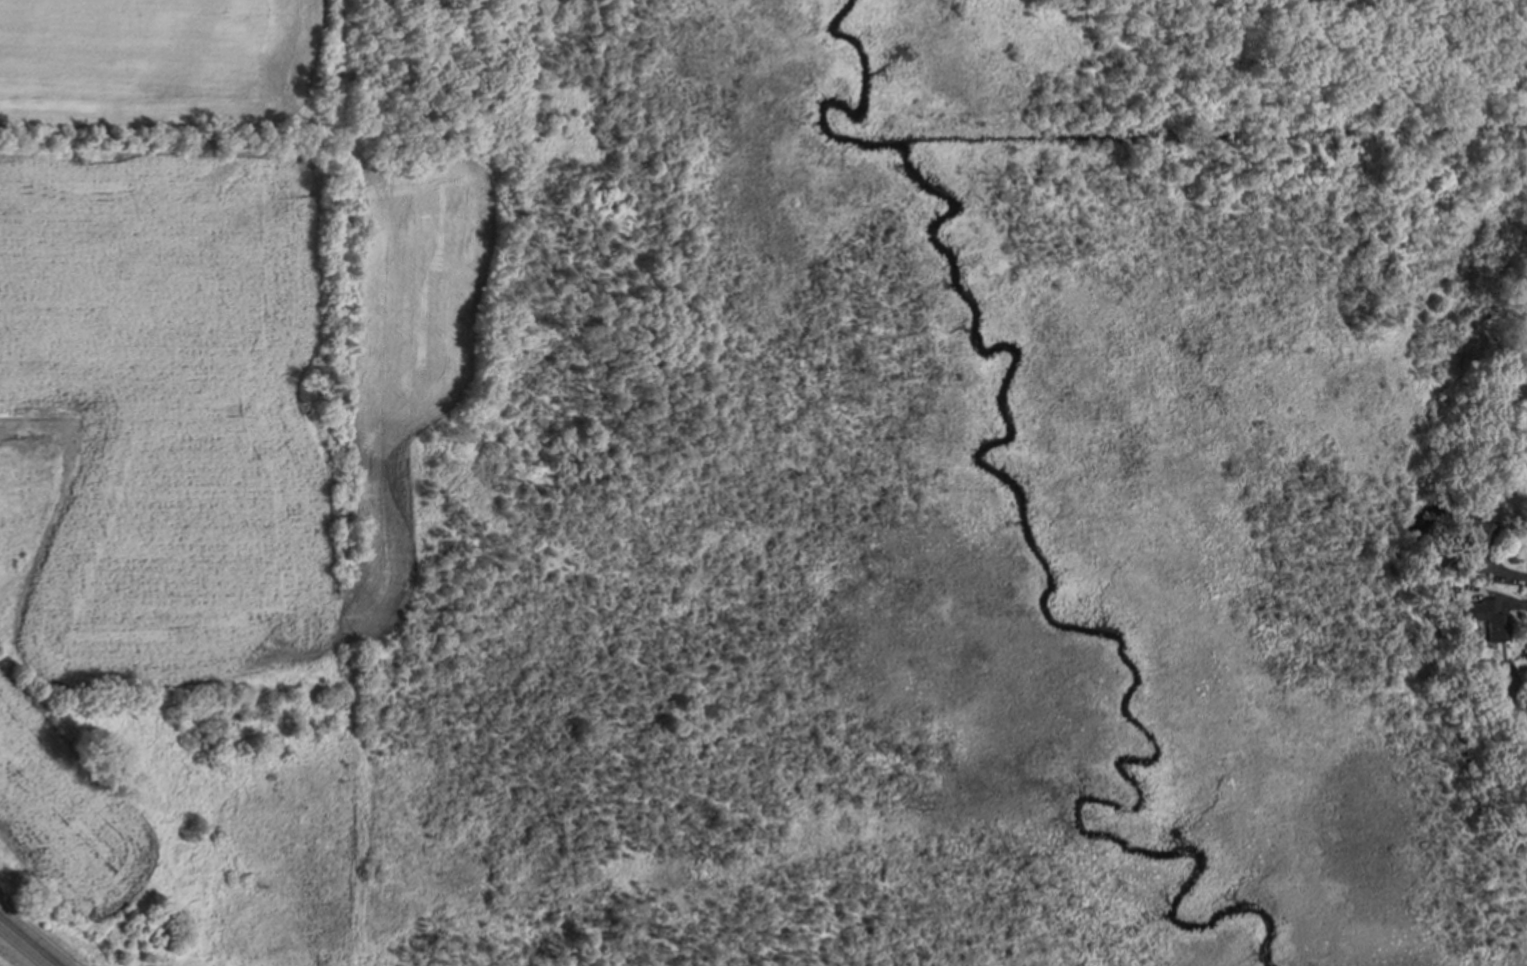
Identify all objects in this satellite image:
building: (1475, 546)
building: (1488, 619)
building: (1507, 678)
road: (26, 944)

